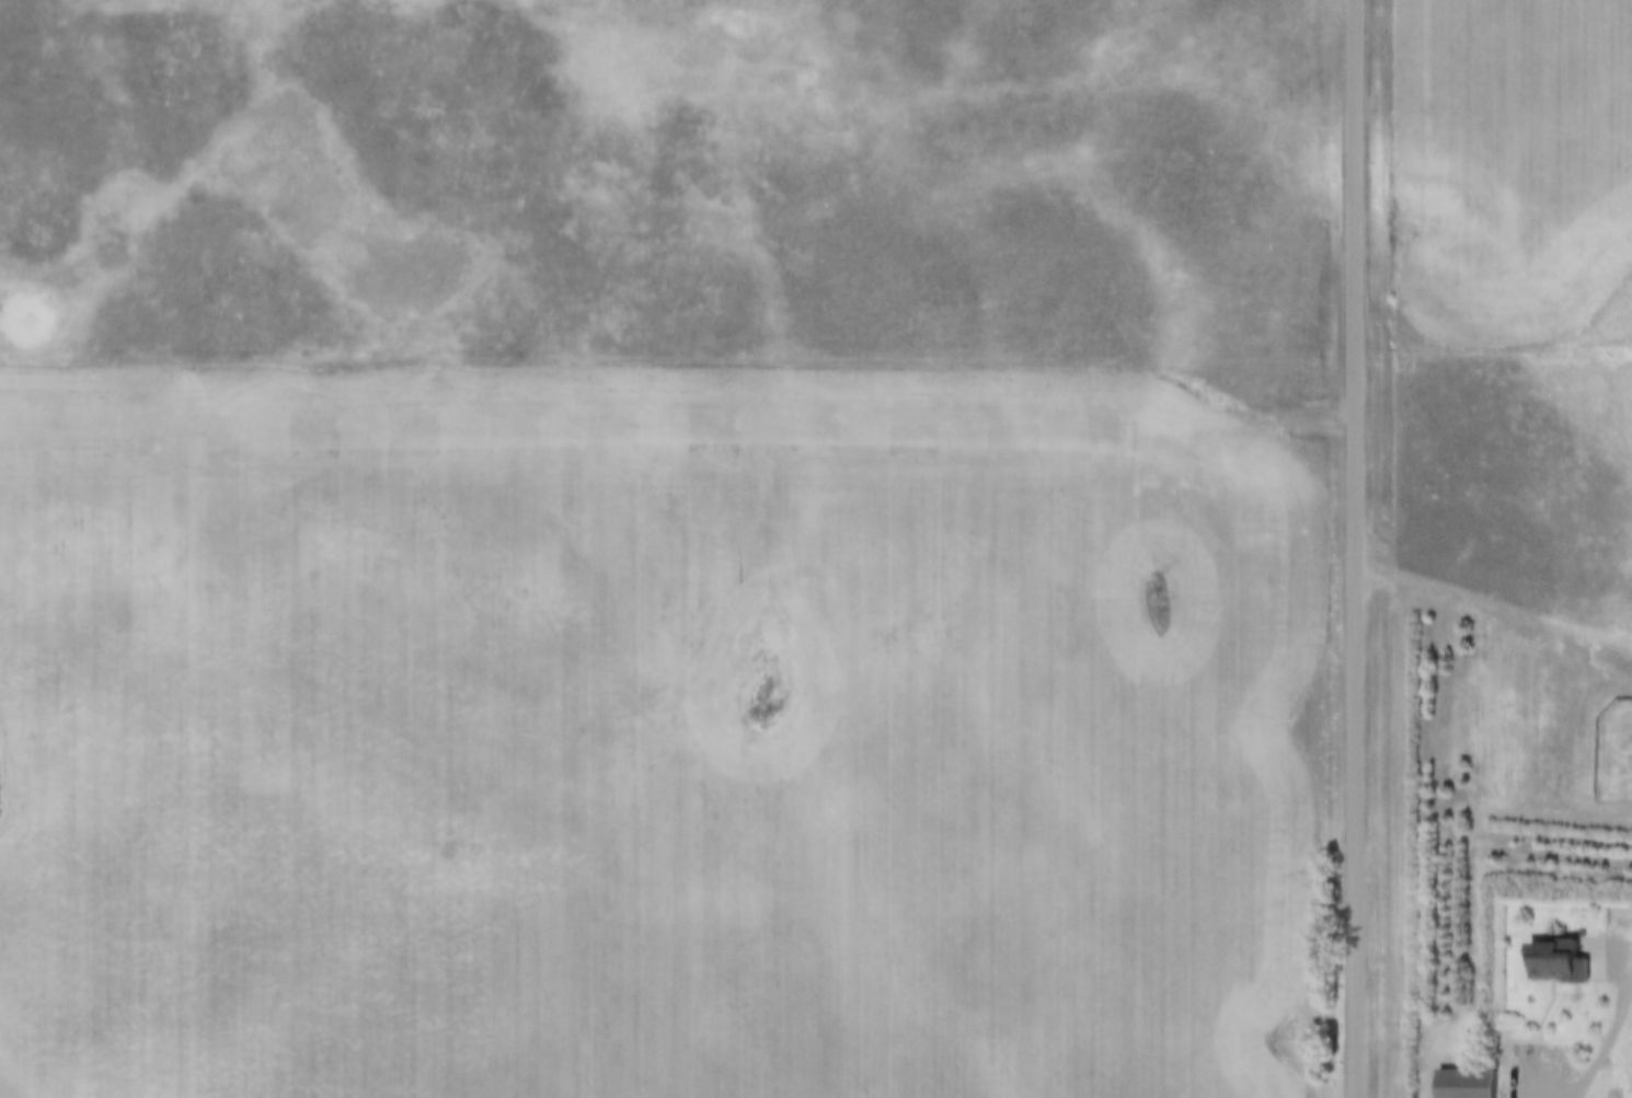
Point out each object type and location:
road: (1351, 548)
road: (1491, 604)
road: (1566, 917)
building: (1558, 960)
building: (1460, 1083)

